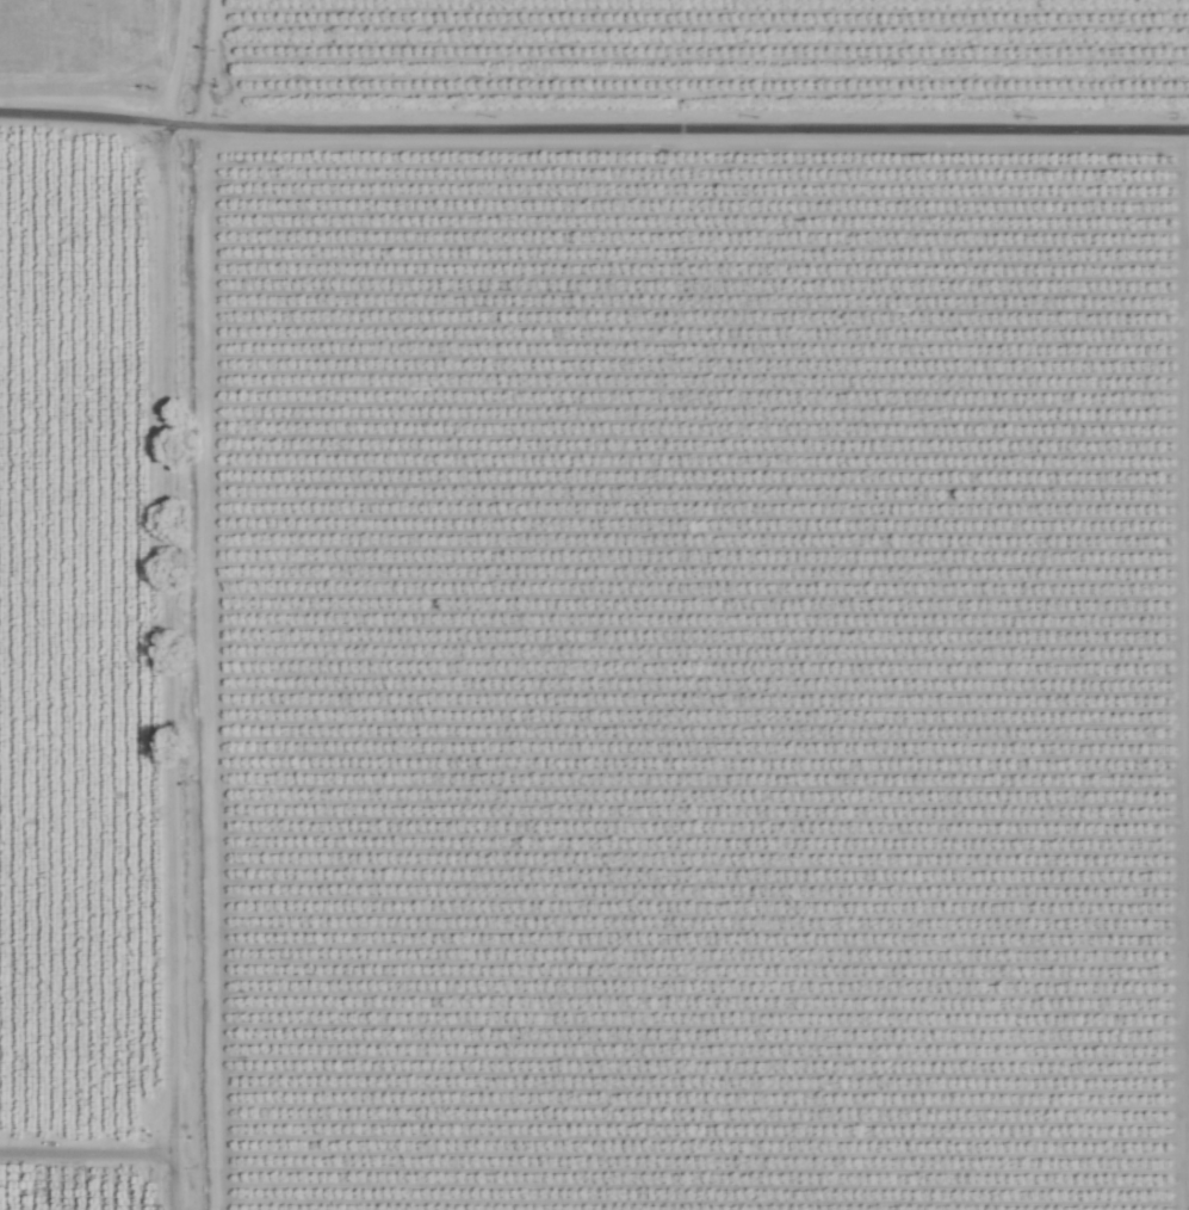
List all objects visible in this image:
crop: (87, 38)
road: (198, 61)
road: (131, 115)
road: (725, 135)
crop: (700, 604)
road: (166, 662)

